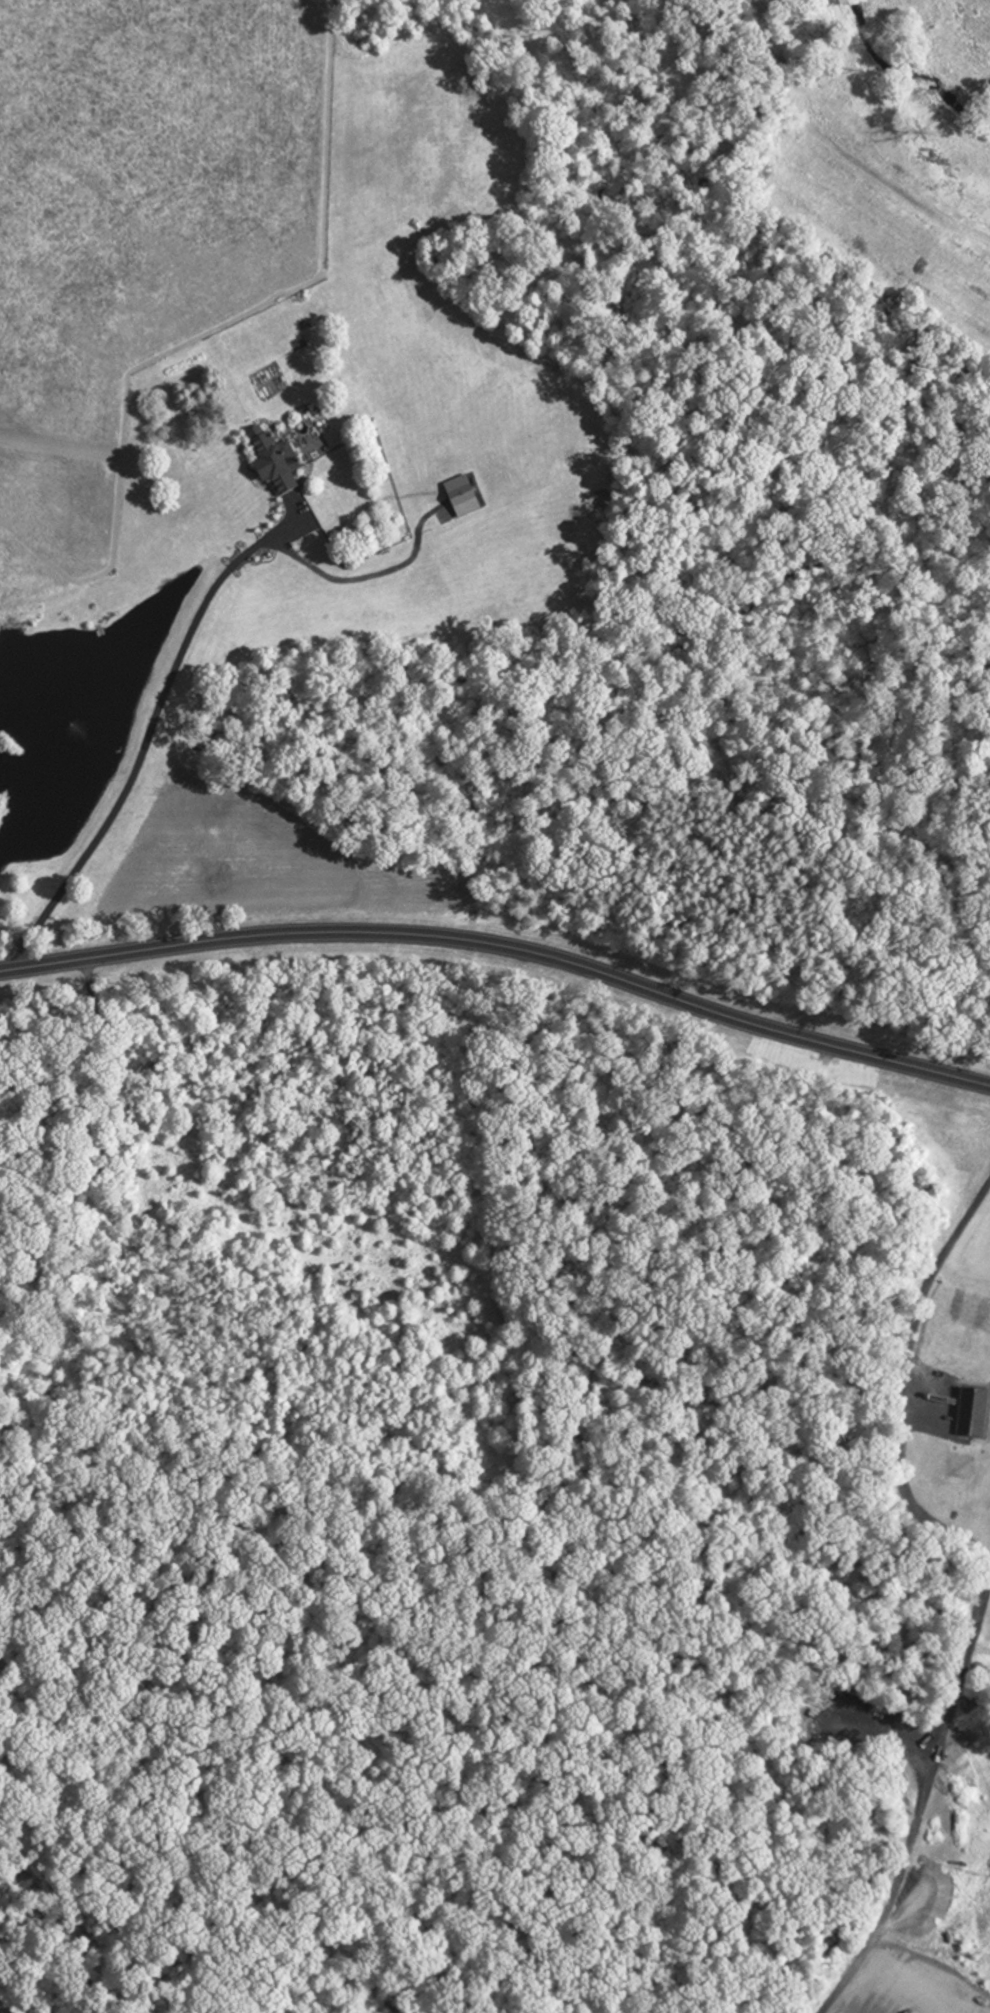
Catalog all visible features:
building: (283, 462)
road: (150, 729)
road: (504, 936)
crop: (955, 1340)
road: (922, 1867)
crop: (5, 2008)

